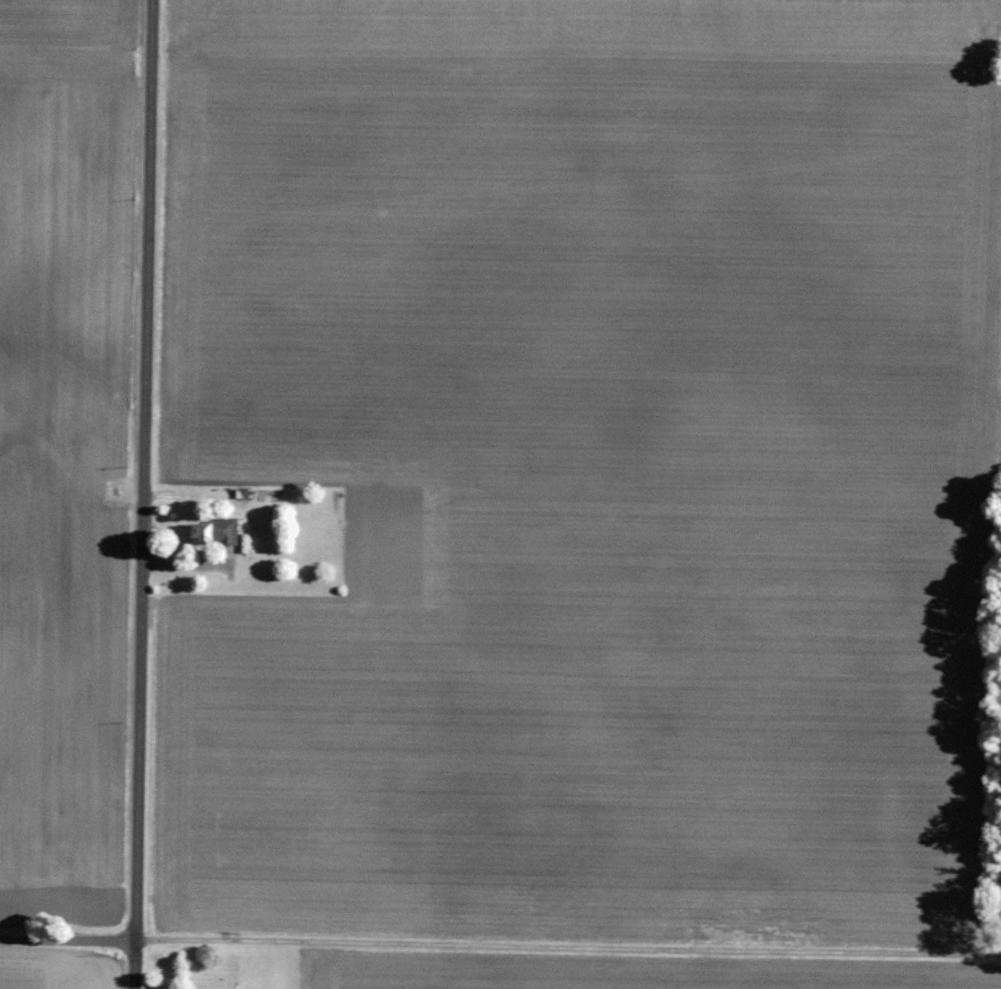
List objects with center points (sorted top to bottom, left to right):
road: (143, 494)
road: (67, 940)

